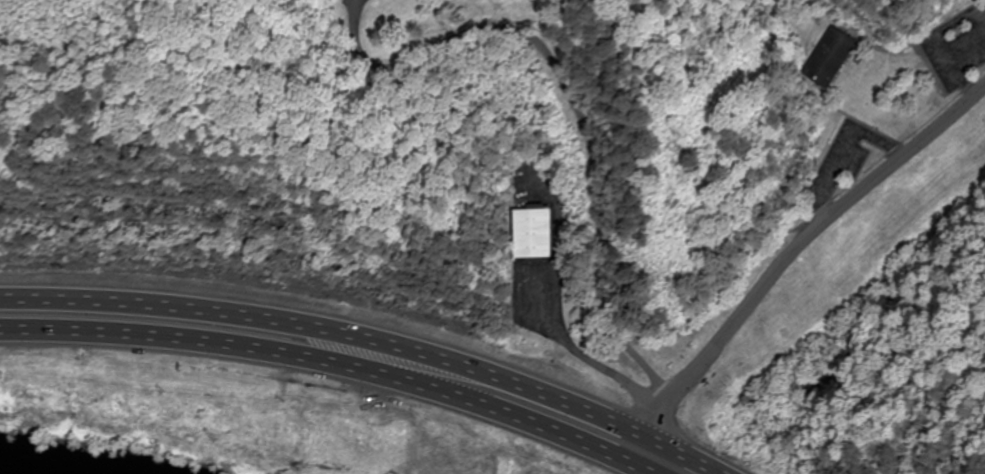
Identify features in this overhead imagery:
building: (382, 0)
building: (832, 58)
road: (574, 100)
building: (534, 234)
road: (786, 256)
road: (370, 340)
road: (334, 364)

